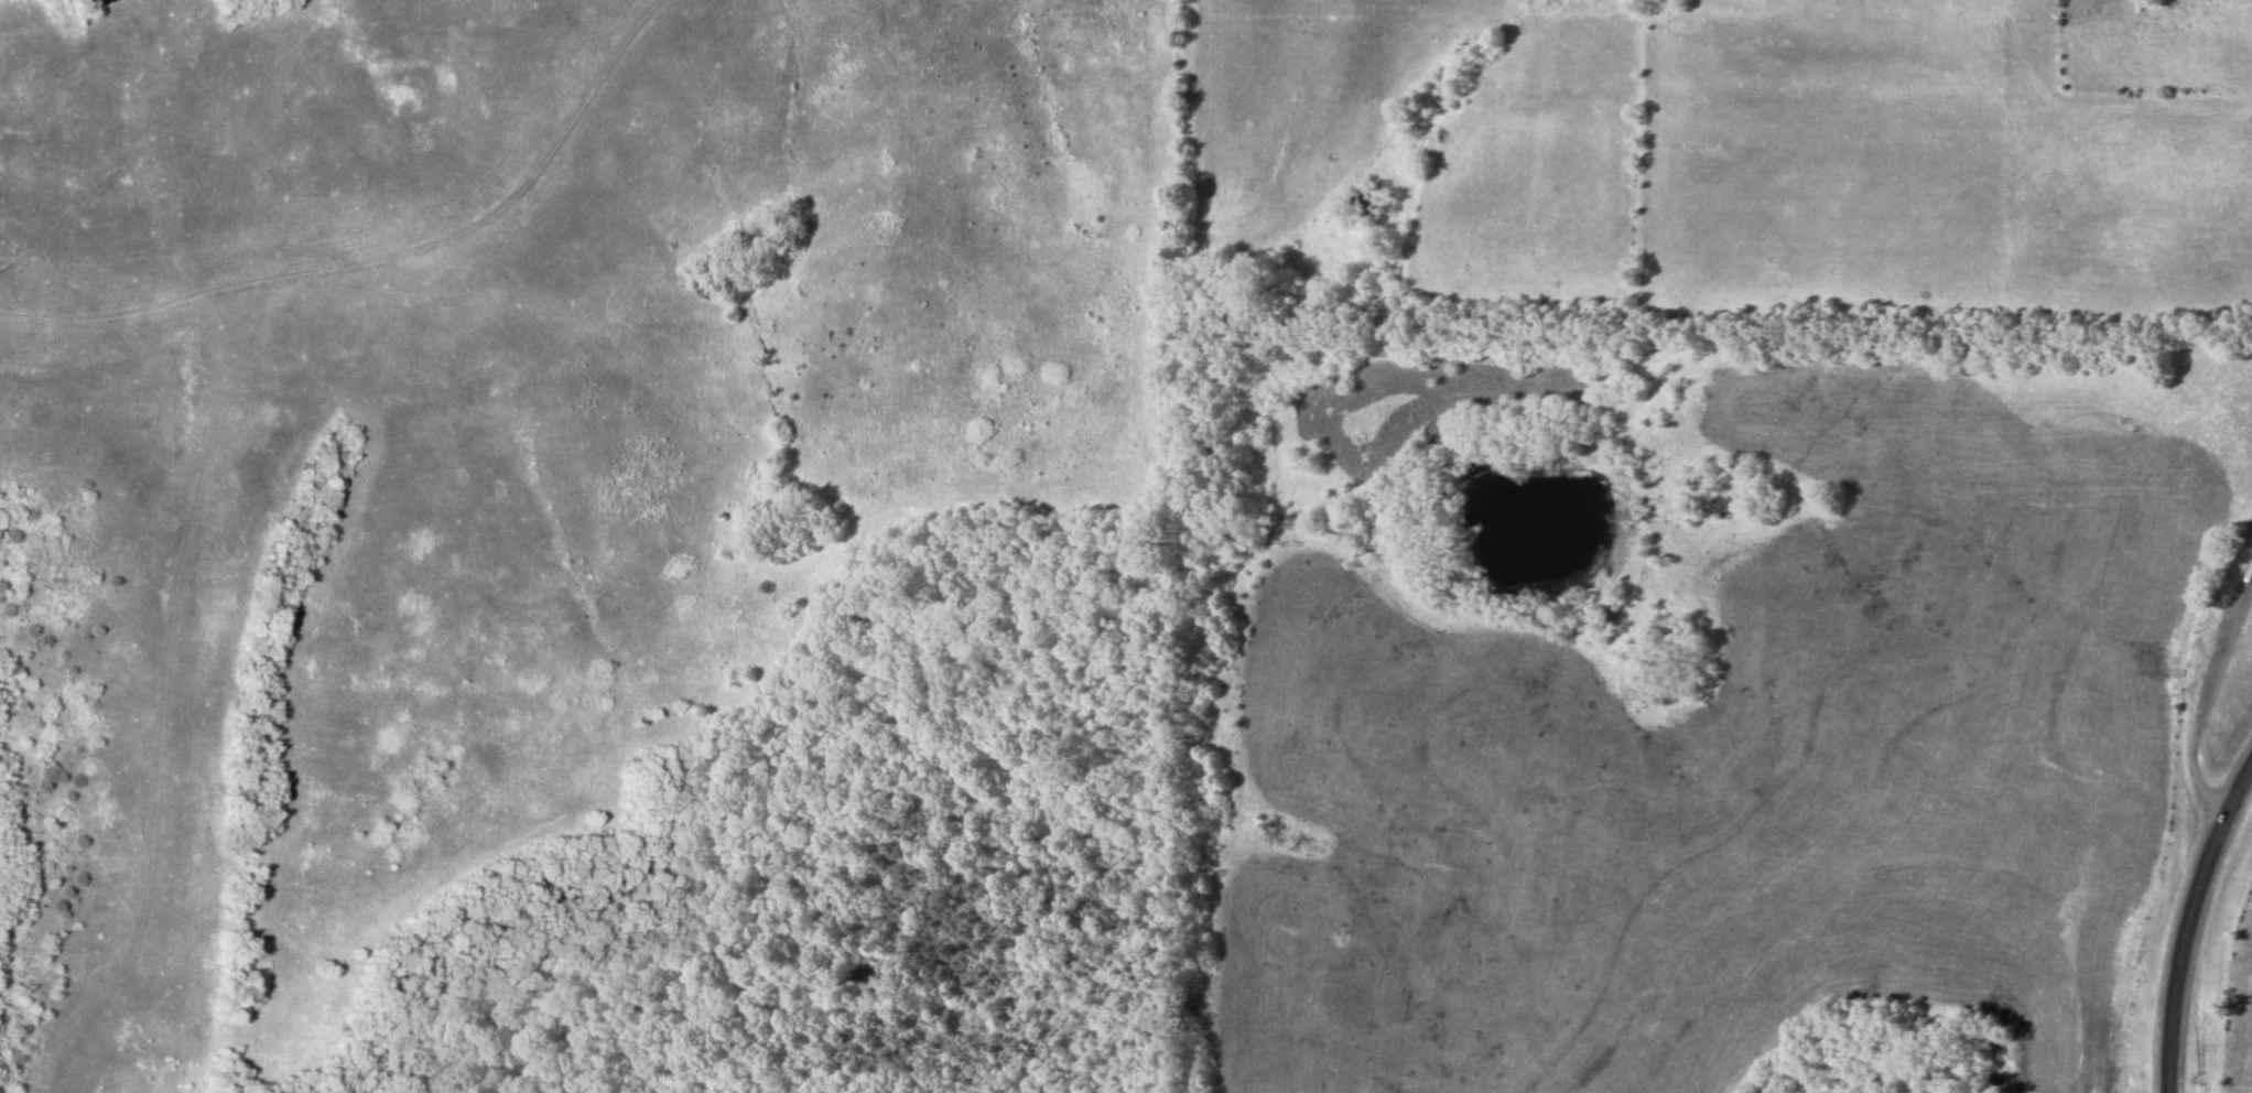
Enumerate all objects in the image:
road: (2188, 919)

